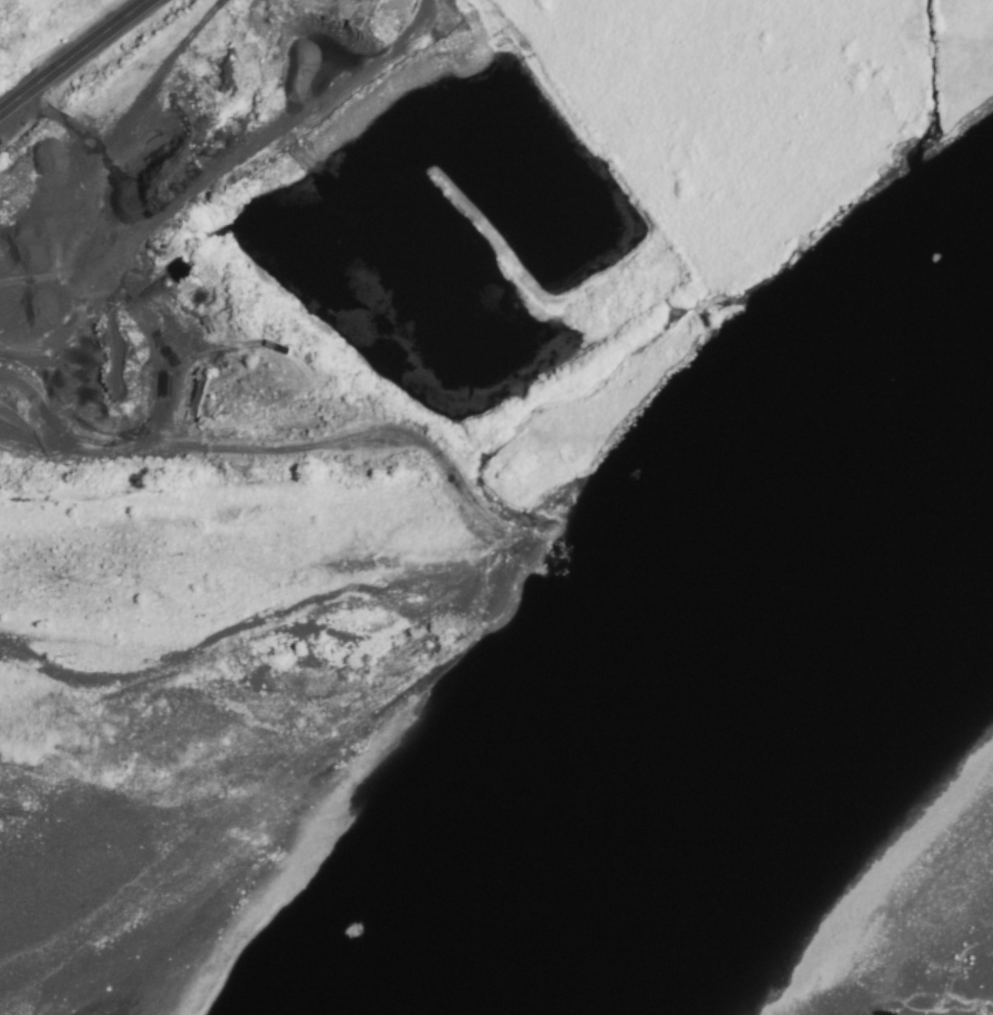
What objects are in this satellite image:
road: (74, 56)
river: (799, 842)

